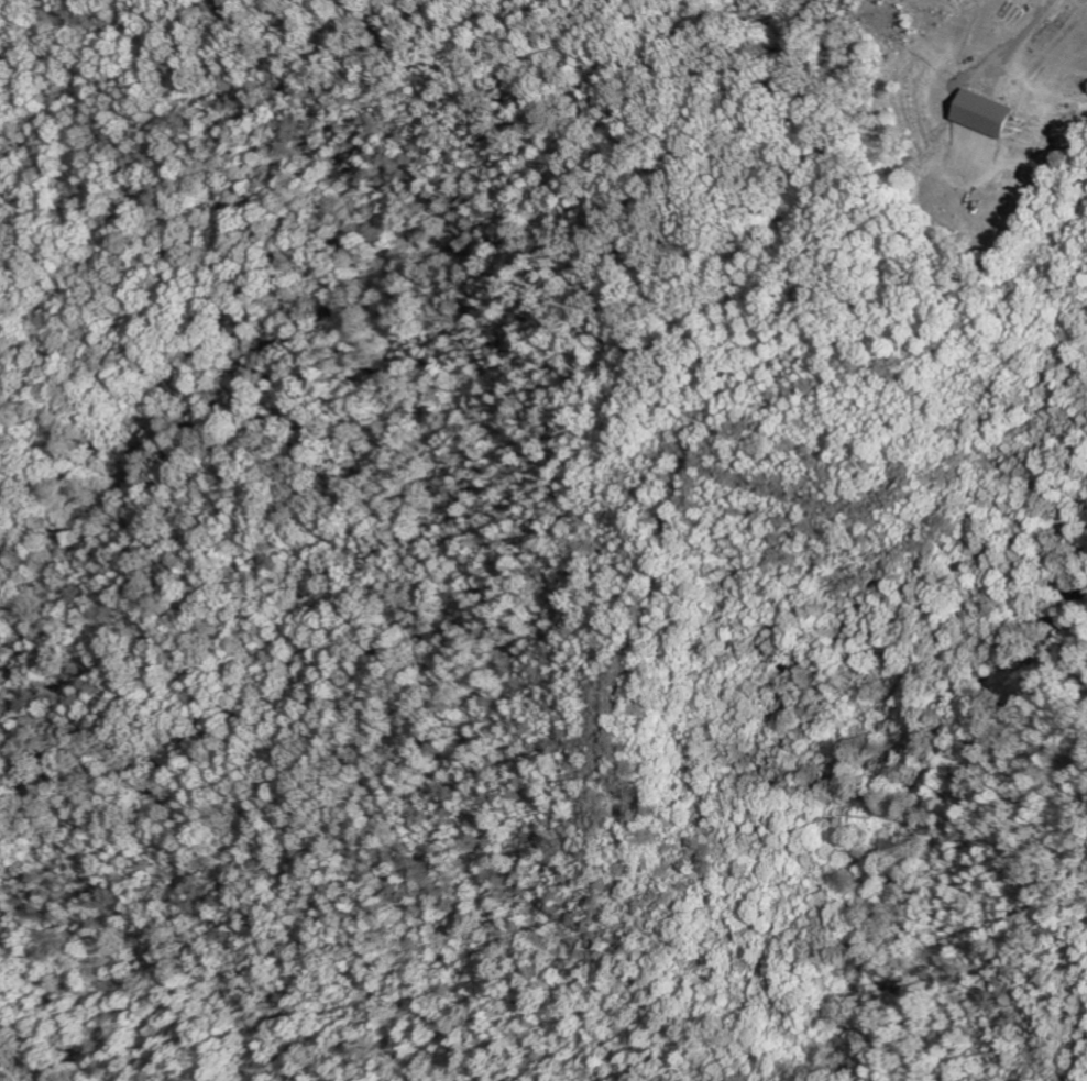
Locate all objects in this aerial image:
building: (992, 114)

